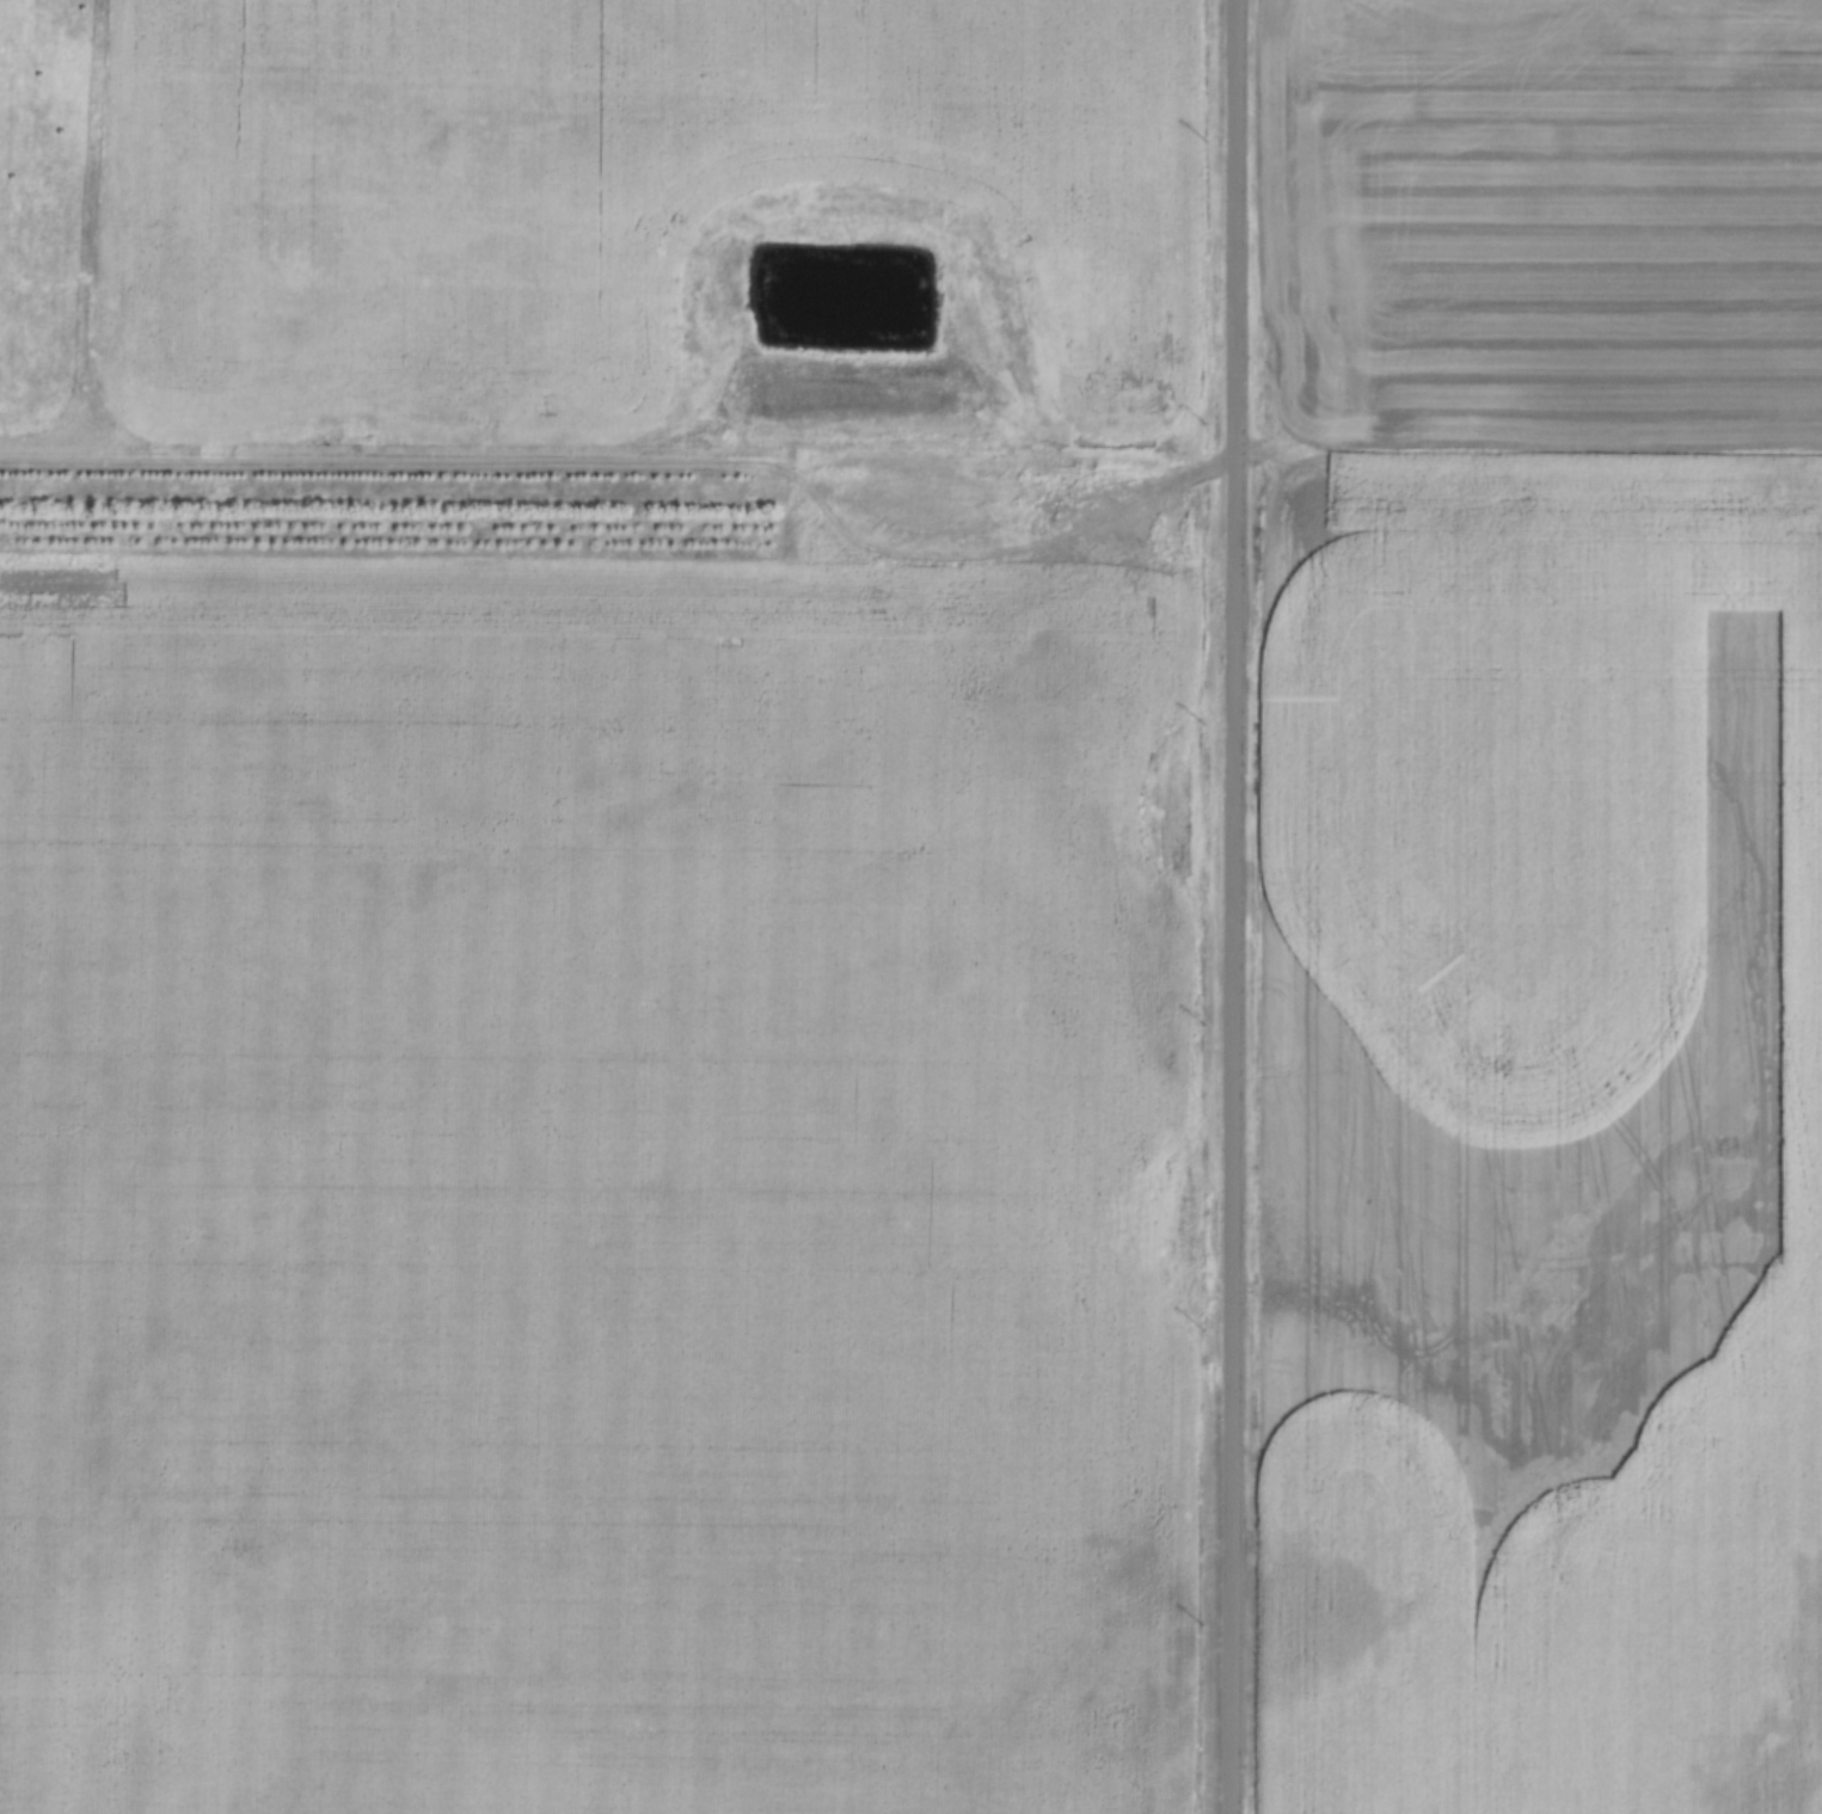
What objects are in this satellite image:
road: (1234, 906)

